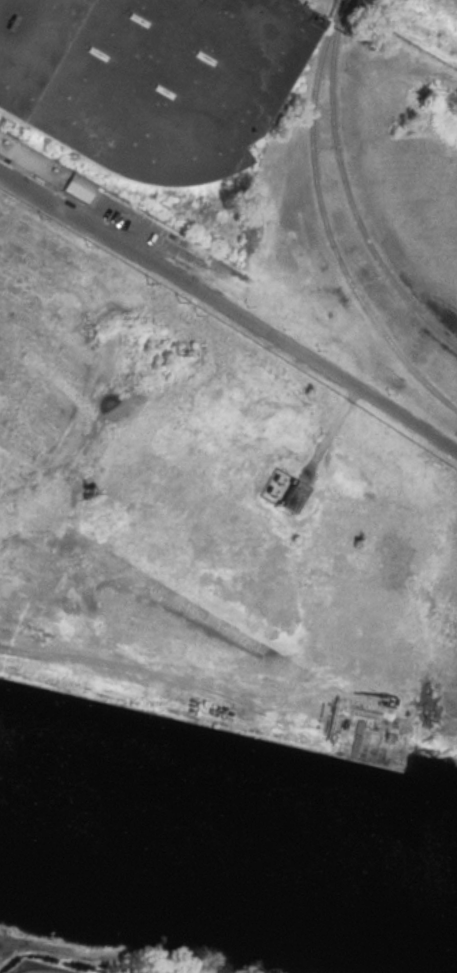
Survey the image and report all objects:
wastewater plant: (353, 5)
building: (150, 79)
building: (42, 168)
railway: (345, 191)
railway: (324, 225)
street lamp: (246, 305)
road: (229, 310)
street lamp: (317, 350)
street lamp: (387, 394)
street lamp: (456, 439)
building: (294, 495)
river: (227, 849)

